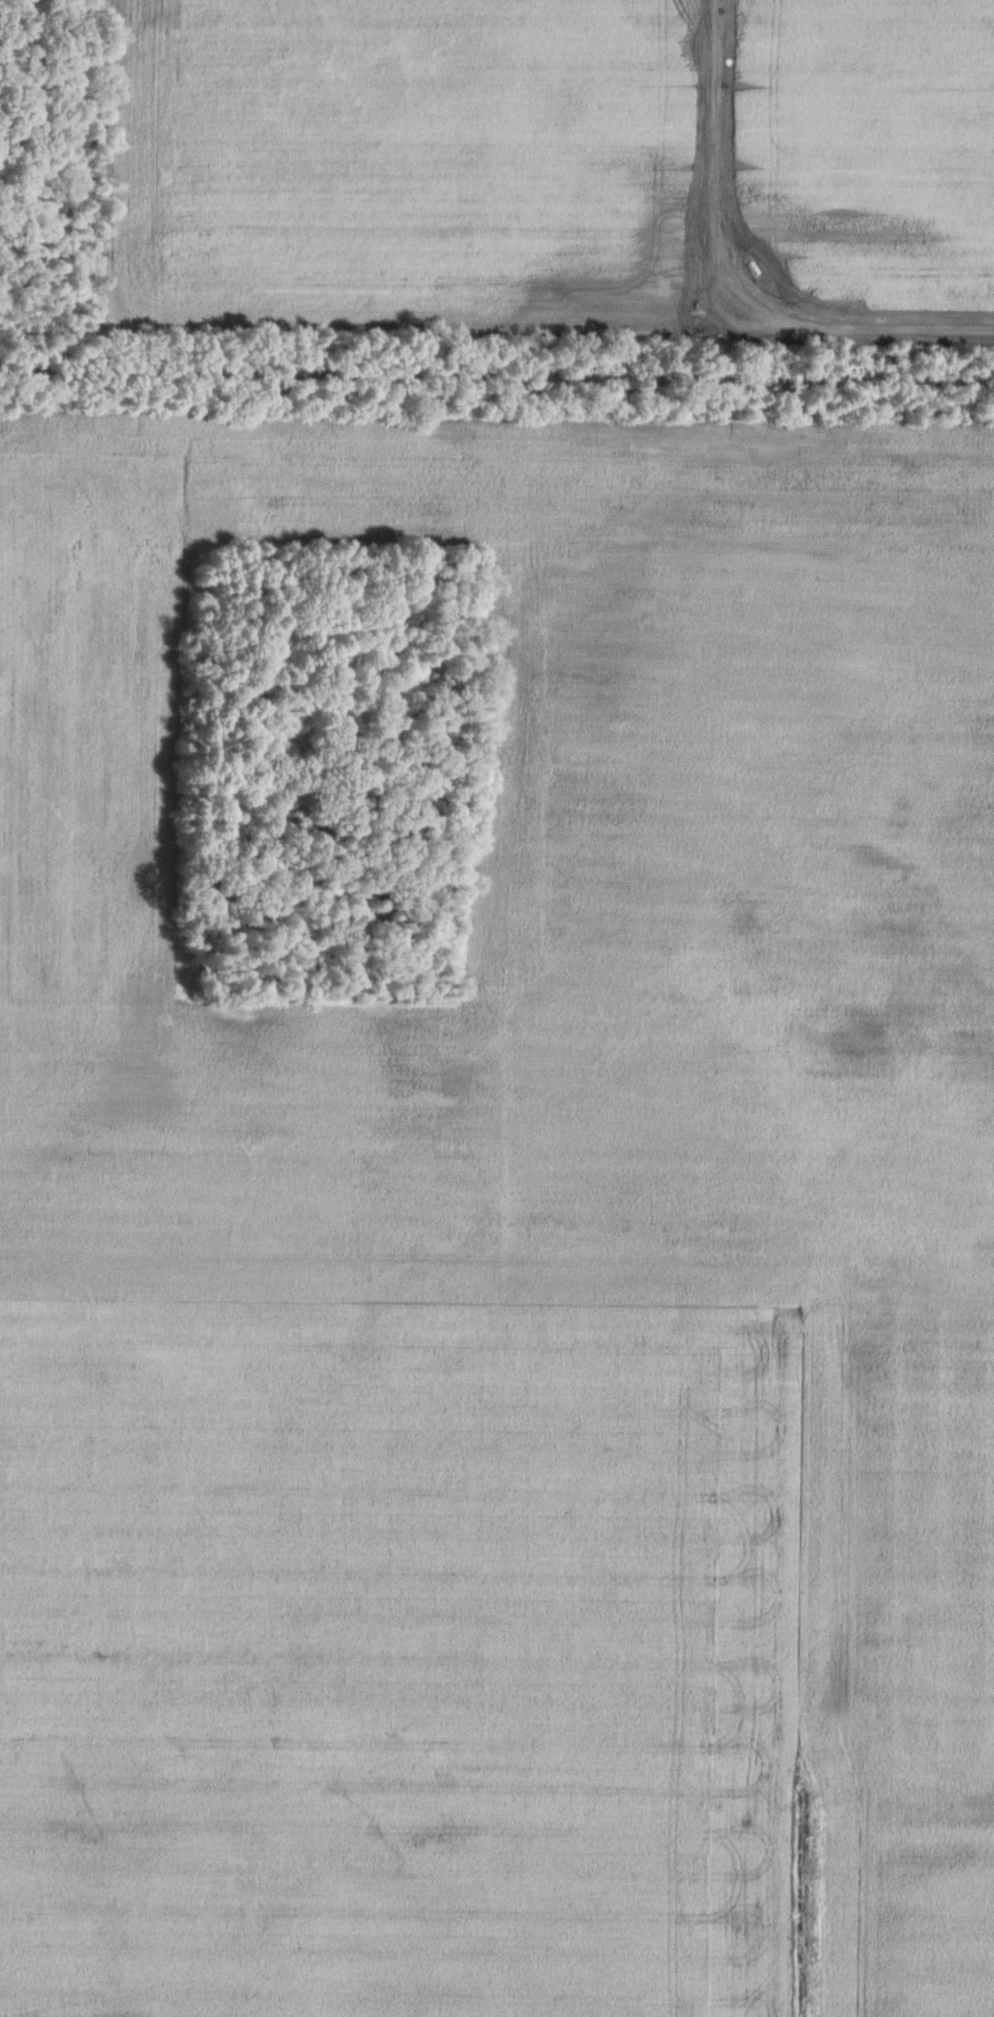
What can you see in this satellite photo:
road: (719, 293)

